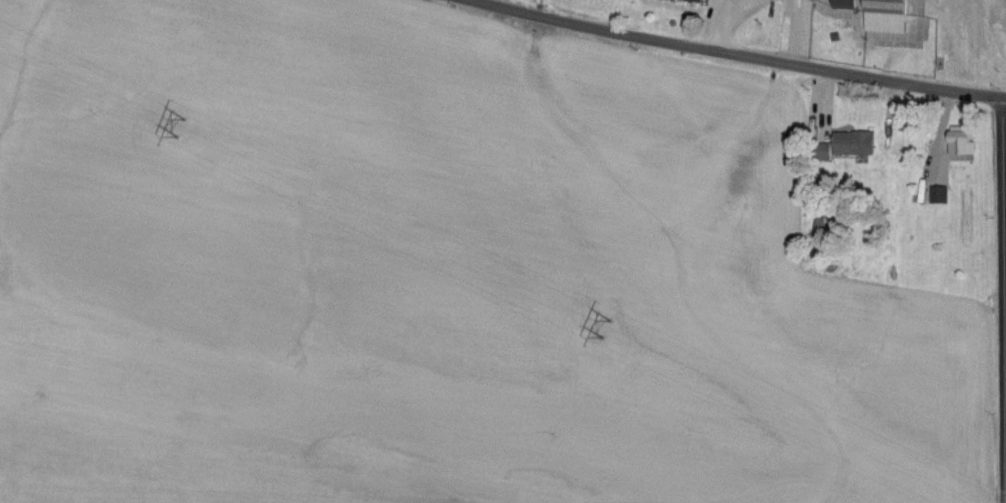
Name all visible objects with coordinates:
building: (848, 4)
building: (890, 16)
road: (742, 54)
power tower: (185, 128)
building: (964, 141)
building: (857, 144)
building: (942, 195)
building: (817, 224)
crop: (433, 274)
road: (1004, 298)
power tower: (610, 328)

